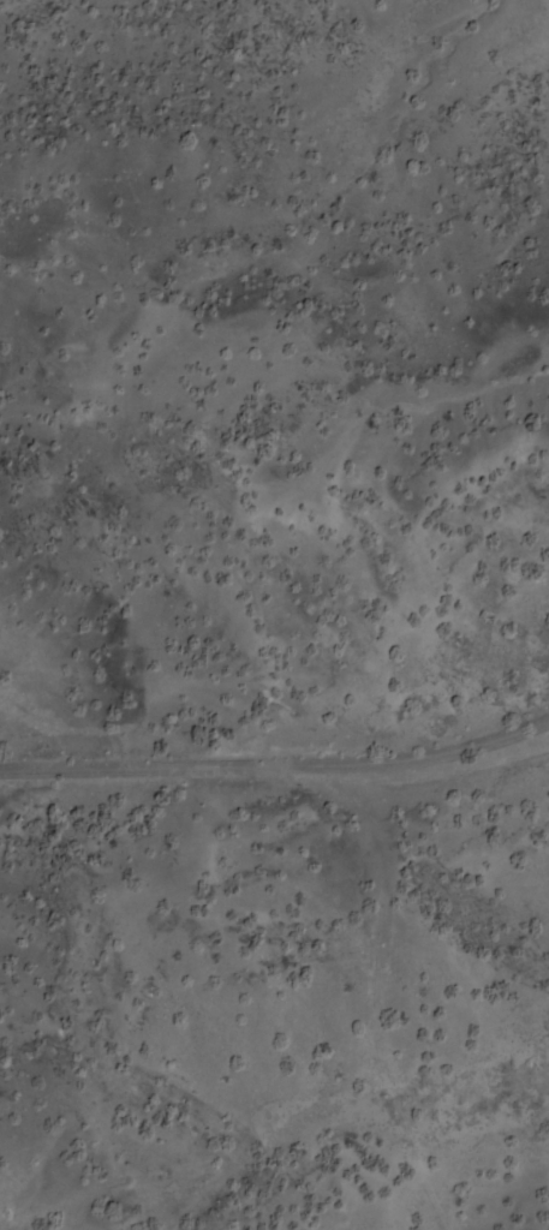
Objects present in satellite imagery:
road: (276, 770)
road: (381, 999)

